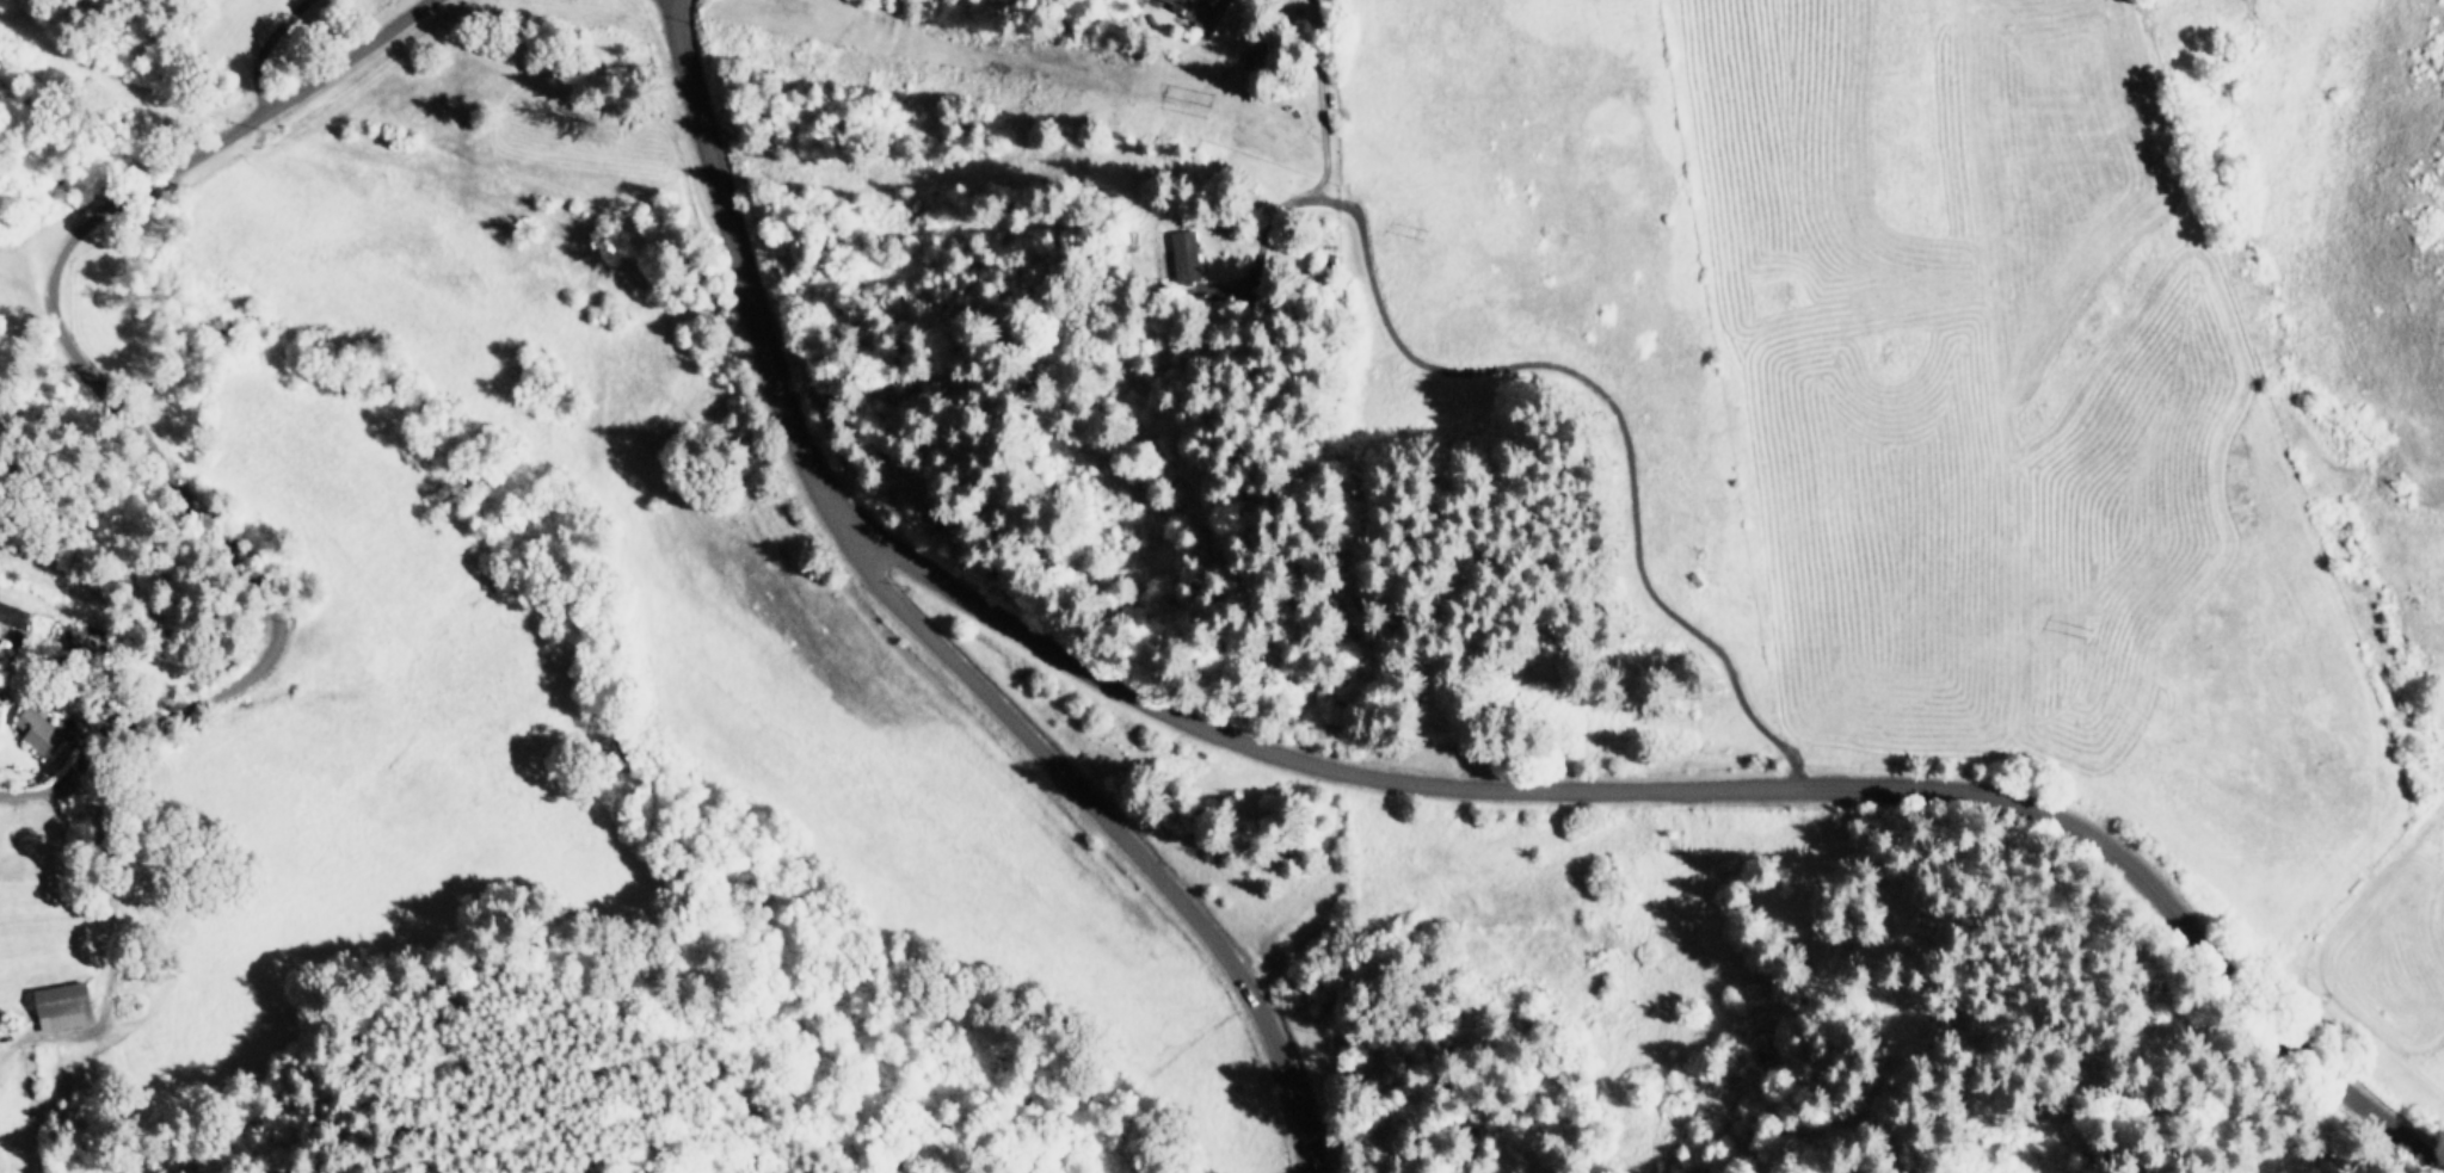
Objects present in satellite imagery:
building: (1206, 0)
building: (1181, 6)
road: (258, 47)
road: (1326, 148)
building: (1187, 257)
crop: (2032, 405)
road: (115, 407)
building: (38, 731)
road: (1406, 782)
road: (1114, 832)
road: (99, 875)
building: (63, 1007)

